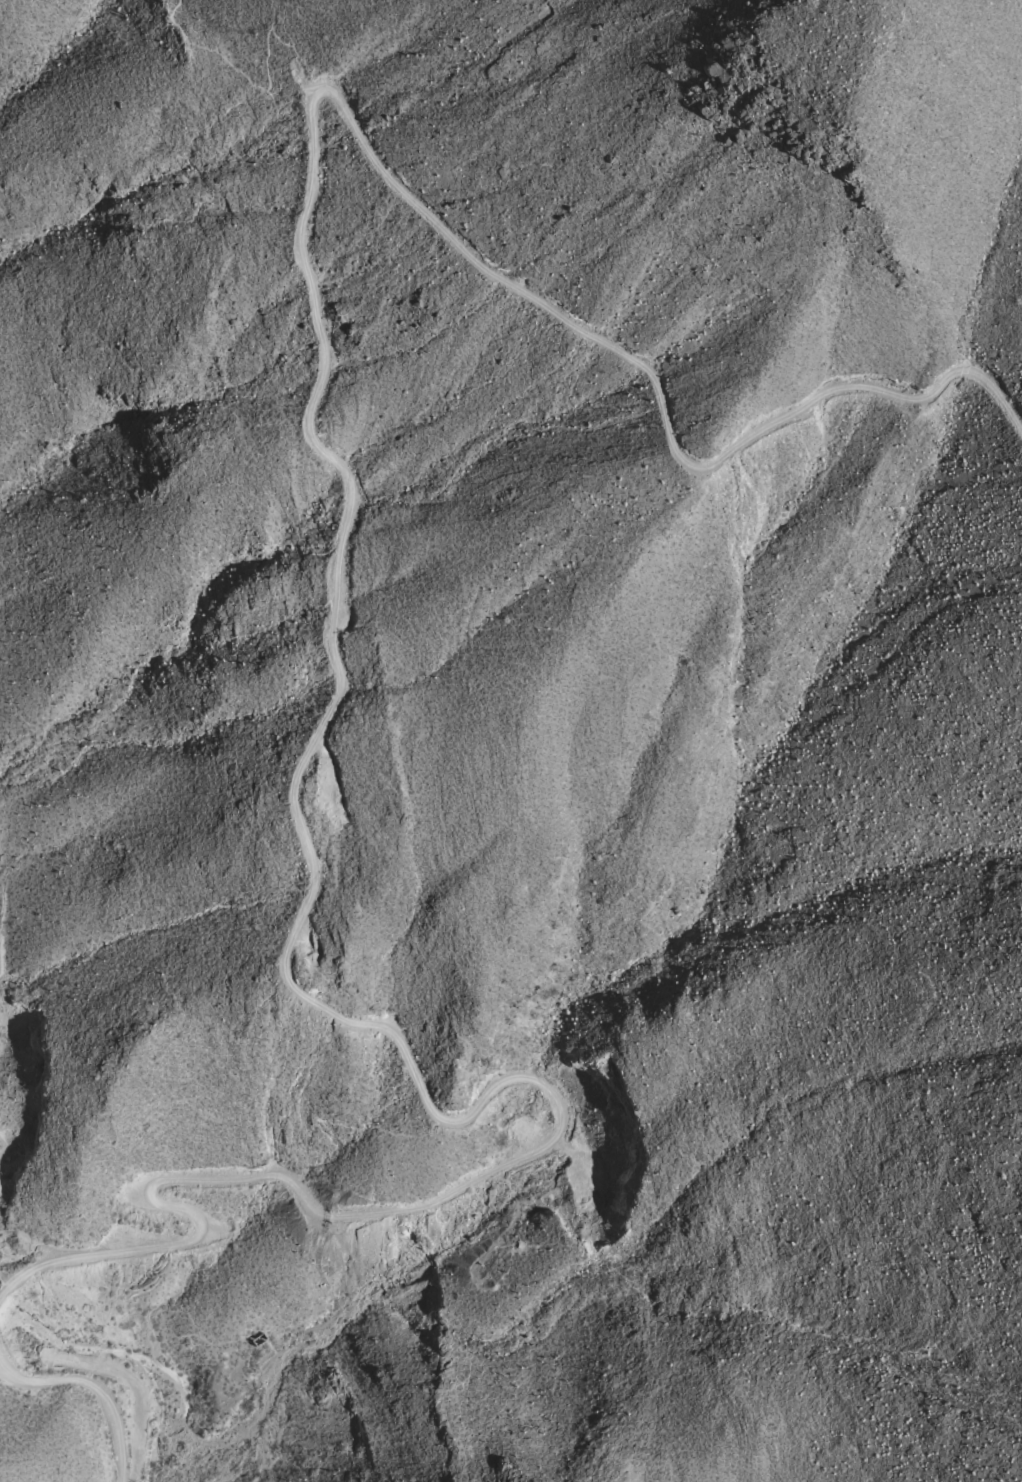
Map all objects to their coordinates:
road: (270, 85)
road: (313, 401)
road: (189, 1211)
road: (6, 1278)
road: (94, 1385)

